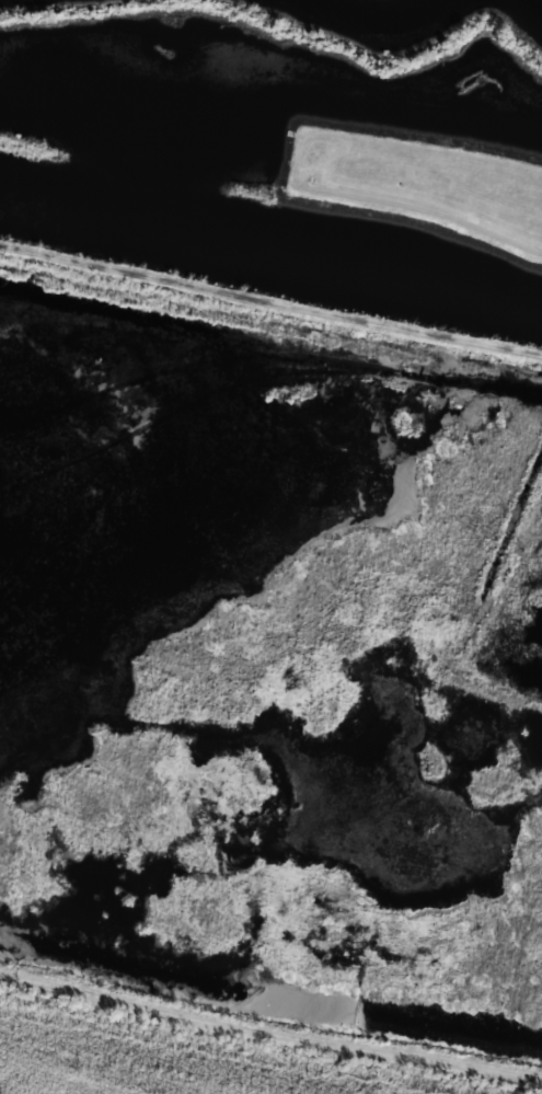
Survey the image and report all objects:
road: (270, 300)
road: (269, 1038)

